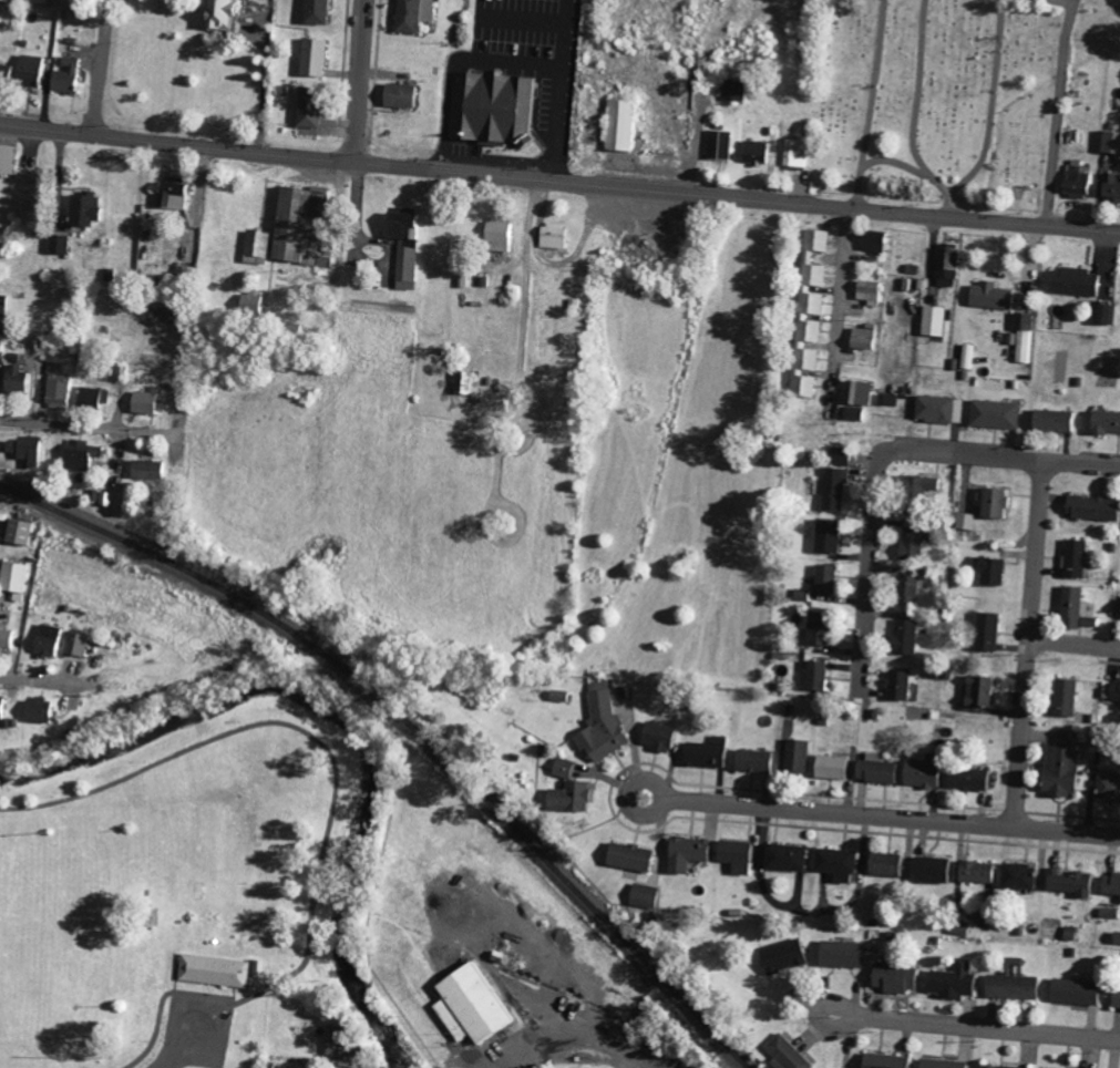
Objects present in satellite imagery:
building: (12, 0)
building: (316, 11)
building: (413, 14)
building: (219, 16)
building: (312, 58)
road: (103, 66)
building: (35, 70)
building: (7, 74)
building: (71, 75)
road: (359, 80)
building: (732, 91)
building: (400, 95)
building: (490, 107)
building: (307, 109)
building: (619, 124)
building: (1109, 142)
building: (721, 145)
building: (758, 152)
building: (795, 153)
building: (10, 160)
road: (559, 181)
building: (1077, 181)
building: (1110, 188)
building: (178, 194)
building: (90, 210)
building: (291, 230)
building: (499, 235)
building: (555, 236)
building: (874, 242)
building: (63, 245)
building: (946, 266)
building: (1073, 281)
building: (870, 292)
road: (843, 294)
building: (989, 296)
building: (810, 300)
building: (250, 302)
building: (4, 305)
building: (1104, 314)
building: (933, 321)
building: (1024, 336)
building: (864, 337)
building: (968, 357)
building: (21, 379)
building: (463, 382)
building: (801, 386)
building: (62, 388)
building: (859, 393)
building: (96, 398)
building: (887, 400)
building: (150, 402)
building: (938, 409)
building: (852, 413)
building: (994, 414)
building: (1052, 421)
building: (1103, 422)
road: (84, 424)
building: (31, 450)
building: (86, 454)
road: (1005, 454)
building: (152, 470)
building: (833, 489)
building: (991, 503)
building: (1090, 507)
building: (964, 522)
building: (25, 532)
building: (825, 536)
building: (911, 543)
building: (1073, 558)
road: (872, 566)
building: (989, 571)
building: (825, 579)
building: (21, 581)
building: (908, 588)
building: (1070, 607)
building: (1119, 613)
building: (818, 628)
building: (986, 631)
building: (8, 636)
building: (903, 636)
building: (53, 640)
road: (1076, 640)
road: (1031, 643)
building: (80, 644)
building: (814, 676)
road: (35, 678)
building: (897, 686)
building: (977, 691)
building: (1113, 691)
building: (561, 696)
building: (1064, 698)
building: (4, 708)
building: (44, 711)
railway: (411, 726)
building: (602, 727)
building: (656, 737)
building: (705, 753)
building: (795, 756)
building: (752, 761)
building: (1060, 764)
building: (563, 766)
building: (830, 767)
building: (875, 769)
building: (919, 771)
road: (605, 779)
building: (966, 779)
building: (1108, 788)
road: (629, 795)
building: (567, 798)
road: (890, 819)
building: (686, 853)
building: (733, 855)
building: (628, 856)
building: (784, 858)
building: (835, 864)
building: (885, 864)
building: (975, 872)
building: (1017, 876)
building: (1068, 883)
building: (1110, 883)
building: (643, 895)
building: (1109, 913)
building: (958, 927)
building: (1116, 938)
building: (781, 955)
building: (839, 955)
building: (219, 969)
building: (892, 978)
building: (953, 982)
building: (1010, 983)
building: (1072, 992)
building: (1114, 998)
building: (477, 1005)
road: (815, 1014)
road: (993, 1028)
building: (342, 1041)
road: (181, 1043)
road: (847, 1045)
building: (787, 1054)
road: (473, 1058)
building: (883, 1061)
building: (941, 1064)
building: (998, 1067)

